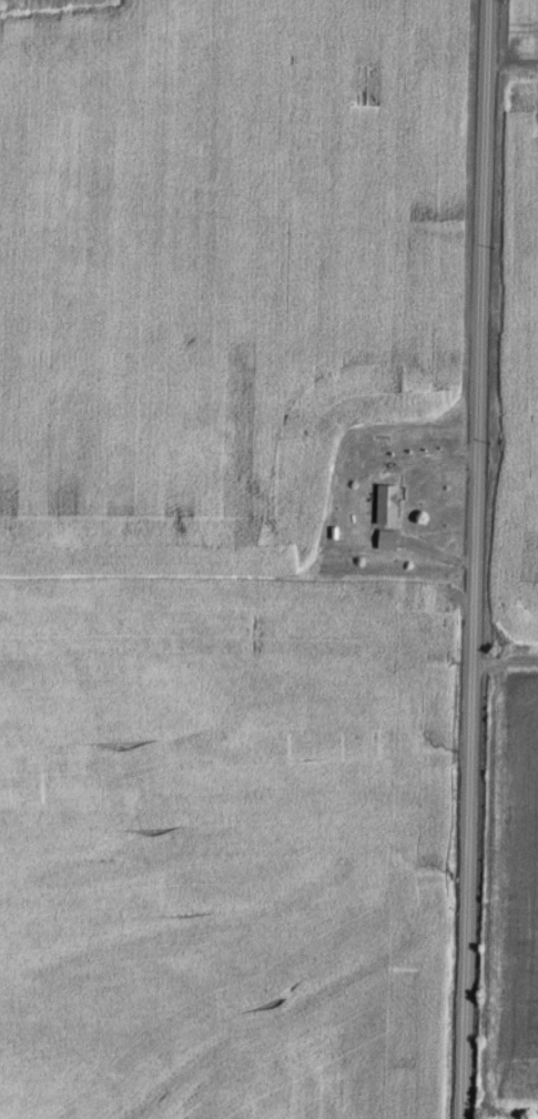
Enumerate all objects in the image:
crop: (525, 43)
crop: (216, 269)
crop: (521, 394)
building: (390, 505)
building: (390, 541)
road: (475, 558)
crop: (210, 817)
crop: (515, 901)
crop: (337, 1058)
crop: (511, 1116)

